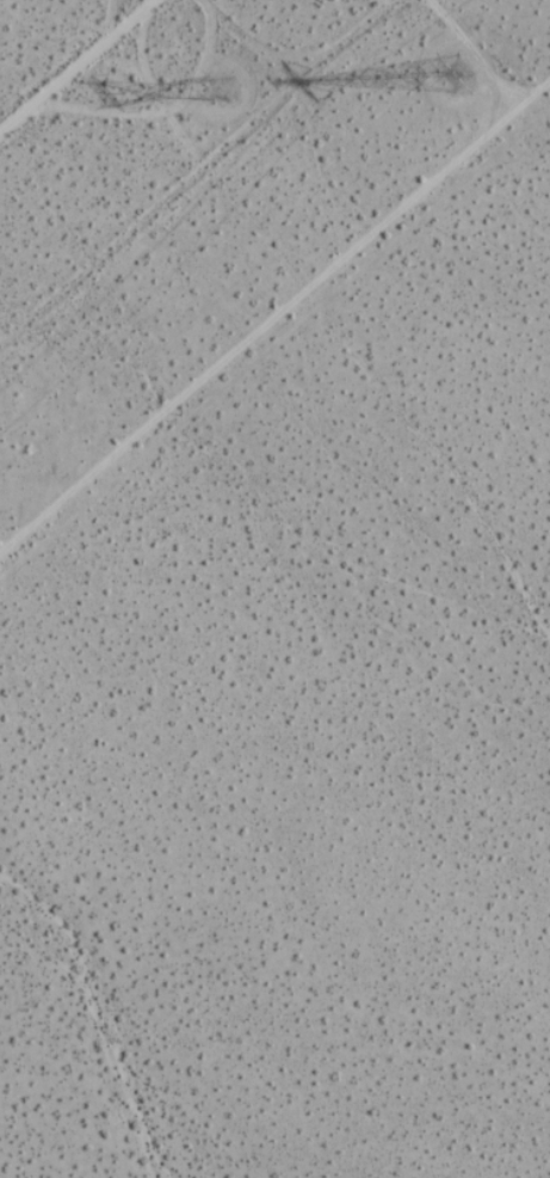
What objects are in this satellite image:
road: (81, 68)
power tower: (457, 72)
power tower: (223, 87)

